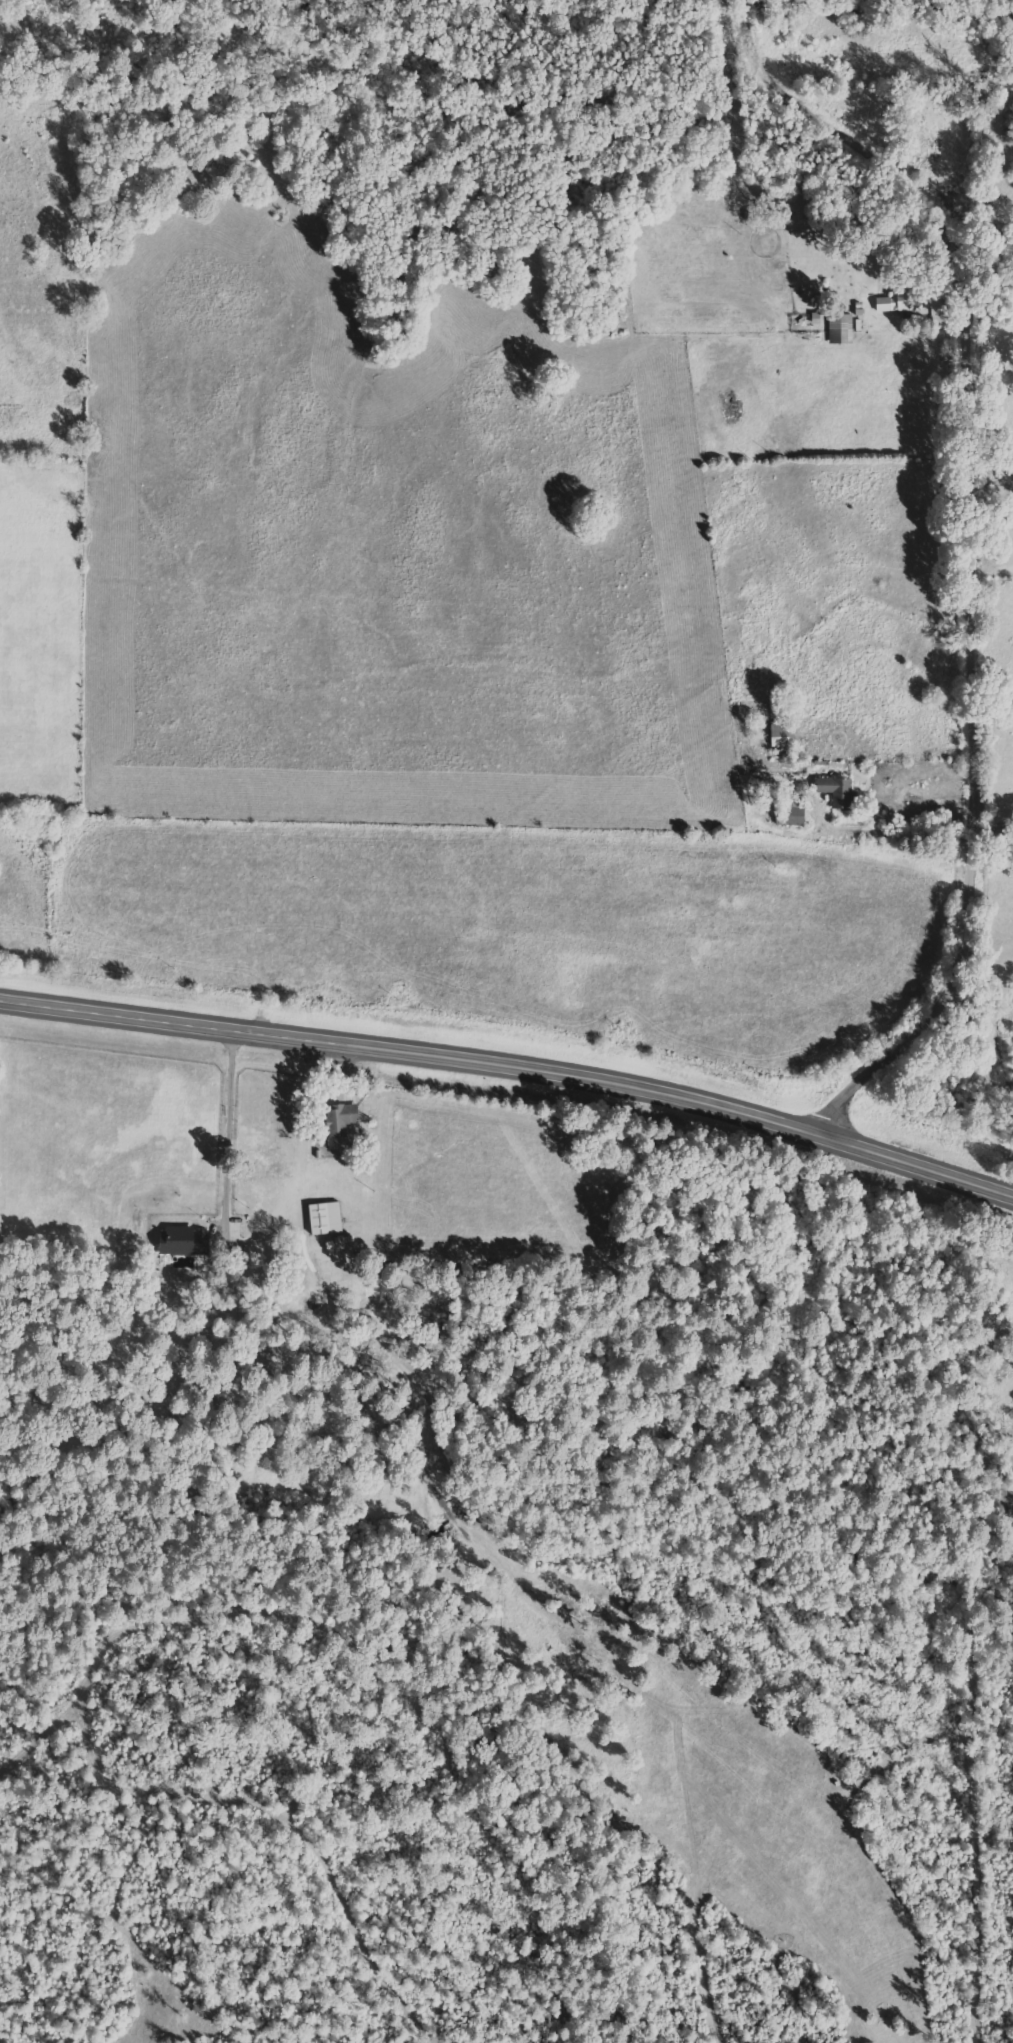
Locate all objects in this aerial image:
building: (836, 329)
road: (948, 547)
road: (983, 780)
building: (834, 791)
building: (786, 814)
road: (512, 1066)
building: (342, 1118)
road: (227, 1132)
building: (327, 1217)
building: (185, 1240)

